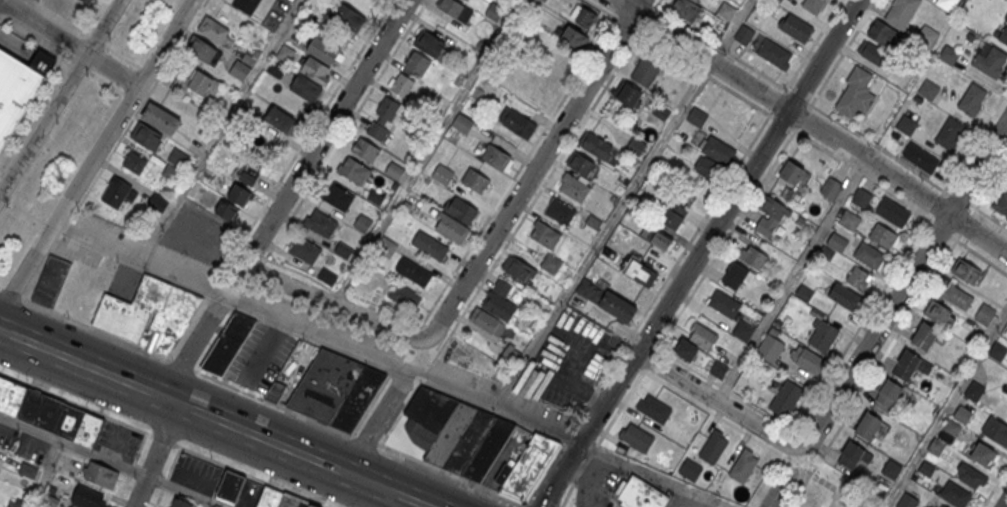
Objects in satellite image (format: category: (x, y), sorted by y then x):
building: (466, 0)
building: (542, 0)
building: (695, 0)
building: (89, 1)
building: (946, 3)
building: (245, 5)
building: (813, 5)
road: (22, 7)
building: (455, 8)
building: (726, 9)
building: (353, 10)
building: (495, 12)
building: (901, 12)
building: (583, 16)
building: (1006, 18)
building: (796, 26)
building: (214, 31)
building: (743, 33)
building: (926, 34)
building: (884, 35)
building: (1003, 35)
building: (574, 38)
building: (430, 42)
road: (70, 43)
road: (713, 44)
building: (322, 48)
building: (204, 51)
building: (285, 51)
building: (948, 52)
building: (774, 53)
building: (873, 54)
road: (805, 57)
building: (990, 60)
building: (417, 61)
road: (835, 64)
building: (275, 66)
building: (315, 69)
building: (646, 69)
building: (401, 83)
building: (198, 84)
building: (306, 86)
building: (928, 87)
building: (19, 88)
building: (629, 93)
building: (856, 93)
road: (59, 96)
road: (797, 96)
building: (971, 99)
building: (696, 115)
building: (160, 116)
building: (382, 116)
building: (280, 121)
building: (516, 121)
building: (905, 123)
building: (462, 124)
road: (811, 126)
road: (219, 130)
road: (326, 131)
building: (949, 133)
building: (147, 137)
road: (975, 138)
building: (596, 144)
building: (635, 147)
road: (876, 147)
building: (717, 148)
road: (427, 150)
building: (365, 151)
building: (495, 155)
building: (920, 156)
road: (93, 158)
building: (134, 162)
road: (521, 162)
building: (582, 164)
building: (175, 165)
building: (705, 165)
road: (536, 167)
building: (354, 169)
building: (394, 171)
building: (795, 175)
building: (443, 176)
power tower: (60, 178)
building: (475, 178)
road: (991, 180)
road: (724, 184)
building: (574, 186)
building: (830, 186)
building: (242, 190)
road: (946, 191)
building: (119, 193)
building: (338, 195)
building: (861, 195)
building: (158, 202)
road: (621, 204)
building: (1001, 204)
building: (460, 208)
building: (559, 210)
building: (892, 211)
building: (226, 212)
building: (672, 216)
building: (769, 218)
building: (849, 218)
building: (320, 220)
road: (965, 222)
building: (363, 224)
building: (590, 224)
building: (450, 226)
building: (544, 233)
building: (882, 234)
building: (656, 238)
building: (836, 240)
building: (429, 243)
building: (386, 248)
building: (305, 251)
building: (343, 251)
building: (825, 251)
road: (699, 252)
building: (868, 253)
building: (752, 255)
road: (981, 256)
building: (551, 263)
building: (518, 267)
building: (965, 270)
building: (414, 271)
building: (639, 271)
building: (734, 273)
building: (858, 276)
building: (327, 277)
building: (51, 281)
parking lot: (124, 281)
road: (791, 281)
road: (694, 289)
building: (804, 290)
building: (843, 294)
building: (957, 295)
building: (404, 297)
building: (607, 298)
building: (499, 299)
building: (723, 301)
road: (340, 303)
building: (937, 312)
building: (984, 312)
building: (149, 314)
building: (742, 329)
building: (822, 333)
building: (700, 334)
building: (924, 334)
building: (228, 343)
road: (193, 346)
building: (769, 346)
building: (996, 350)
road: (884, 353)
building: (511, 356)
building: (805, 356)
parking lot: (568, 362)
building: (910, 363)
road: (855, 364)
road: (389, 366)
building: (718, 368)
building: (1006, 389)
building: (336, 390)
building: (888, 390)
building: (973, 390)
building: (276, 392)
building: (785, 396)
road: (264, 399)
road: (192, 407)
building: (654, 408)
road: (945, 409)
road: (710, 410)
building: (49, 412)
building: (962, 413)
road: (376, 422)
building: (867, 424)
building: (950, 427)
building: (995, 431)
building: (456, 433)
building: (636, 436)
road: (164, 440)
parking lot: (117, 441)
building: (936, 445)
building: (713, 447)
building: (982, 453)
road: (157, 454)
building: (853, 457)
road: (110, 461)
building: (743, 465)
building: (926, 466)
building: (891, 467)
building: (526, 468)
building: (689, 469)
road: (45, 473)
parking lot: (195, 473)
building: (100, 475)
building: (970, 475)
road: (823, 483)
parking lot: (783, 486)
building: (230, 487)
road: (994, 487)
park: (837, 491)
road: (777, 492)
parking lot: (249, 493)
building: (642, 494)
building: (954, 494)
road: (380, 497)
road: (407, 497)
building: (87, 498)
building: (280, 499)
building: (907, 500)
building: (15, 503)
building: (180, 504)
road: (1005, 504)
building: (942, 506)

